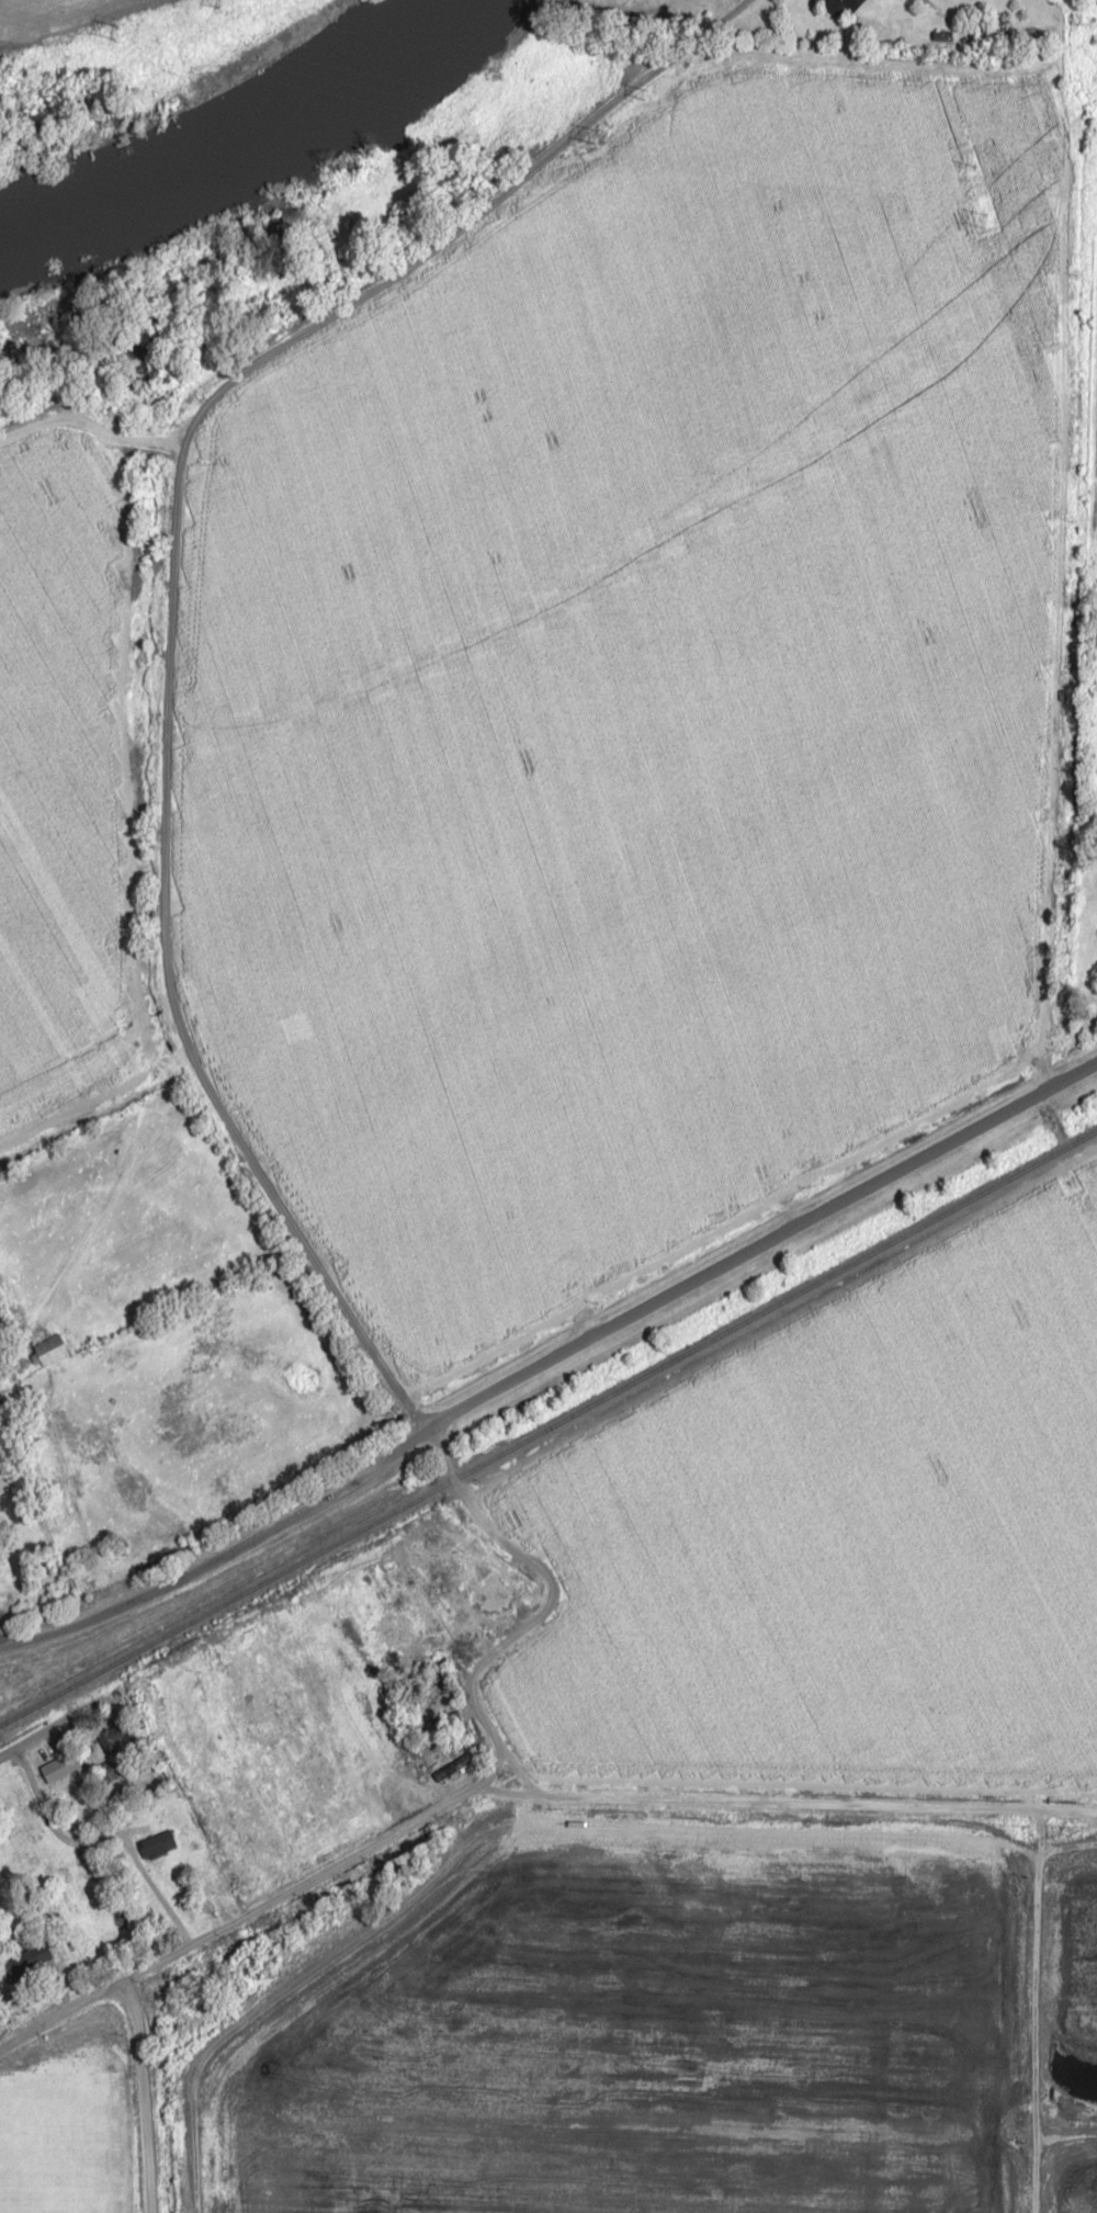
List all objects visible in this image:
building: (839, 5)
power tower: (115, 30)
power tower: (595, 133)
river: (231, 146)
power tower: (984, 218)
road: (465, 227)
road: (92, 422)
building: (585, 734)
crop: (57, 750)
building: (47, 1350)
road: (547, 1358)
road: (8, 1379)
road: (394, 1389)
railway: (548, 1426)
building: (879, 1497)
crop: (841, 1542)
building: (494, 1605)
road: (2, 1639)
building: (115, 1739)
road: (34, 1740)
building: (58, 1766)
road: (779, 1802)
road: (78, 1824)
building: (156, 1845)
building: (25, 1961)
road: (142, 2093)

